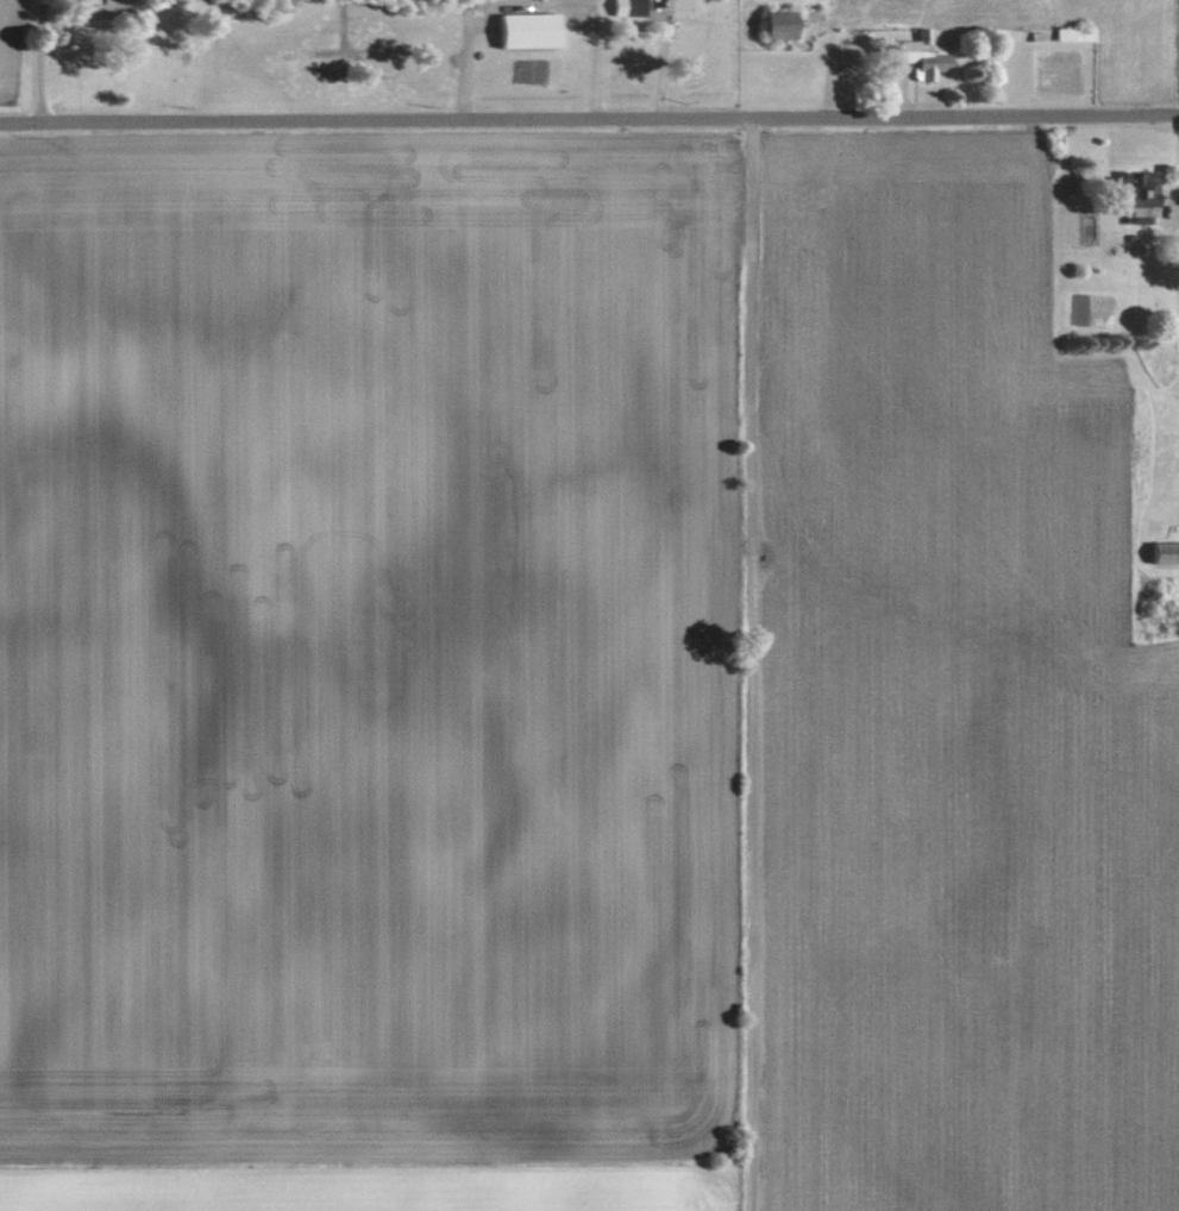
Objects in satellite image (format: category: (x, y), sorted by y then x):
building: (81, 0)
building: (616, 6)
building: (769, 21)
building: (521, 29)
building: (1070, 31)
road: (36, 37)
building: (916, 54)
road: (589, 119)
road: (1174, 172)
building: (1160, 550)
road: (750, 665)

